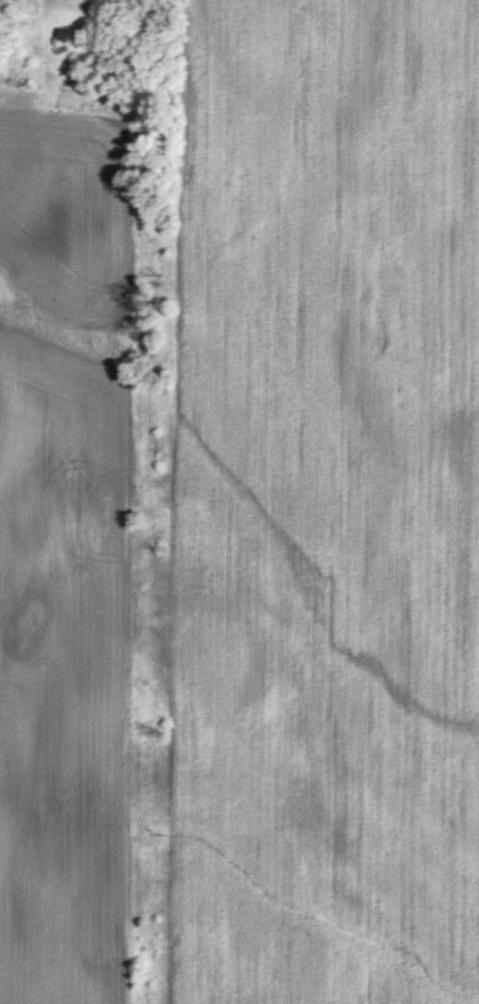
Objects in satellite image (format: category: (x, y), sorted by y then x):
building: (63, 35)

